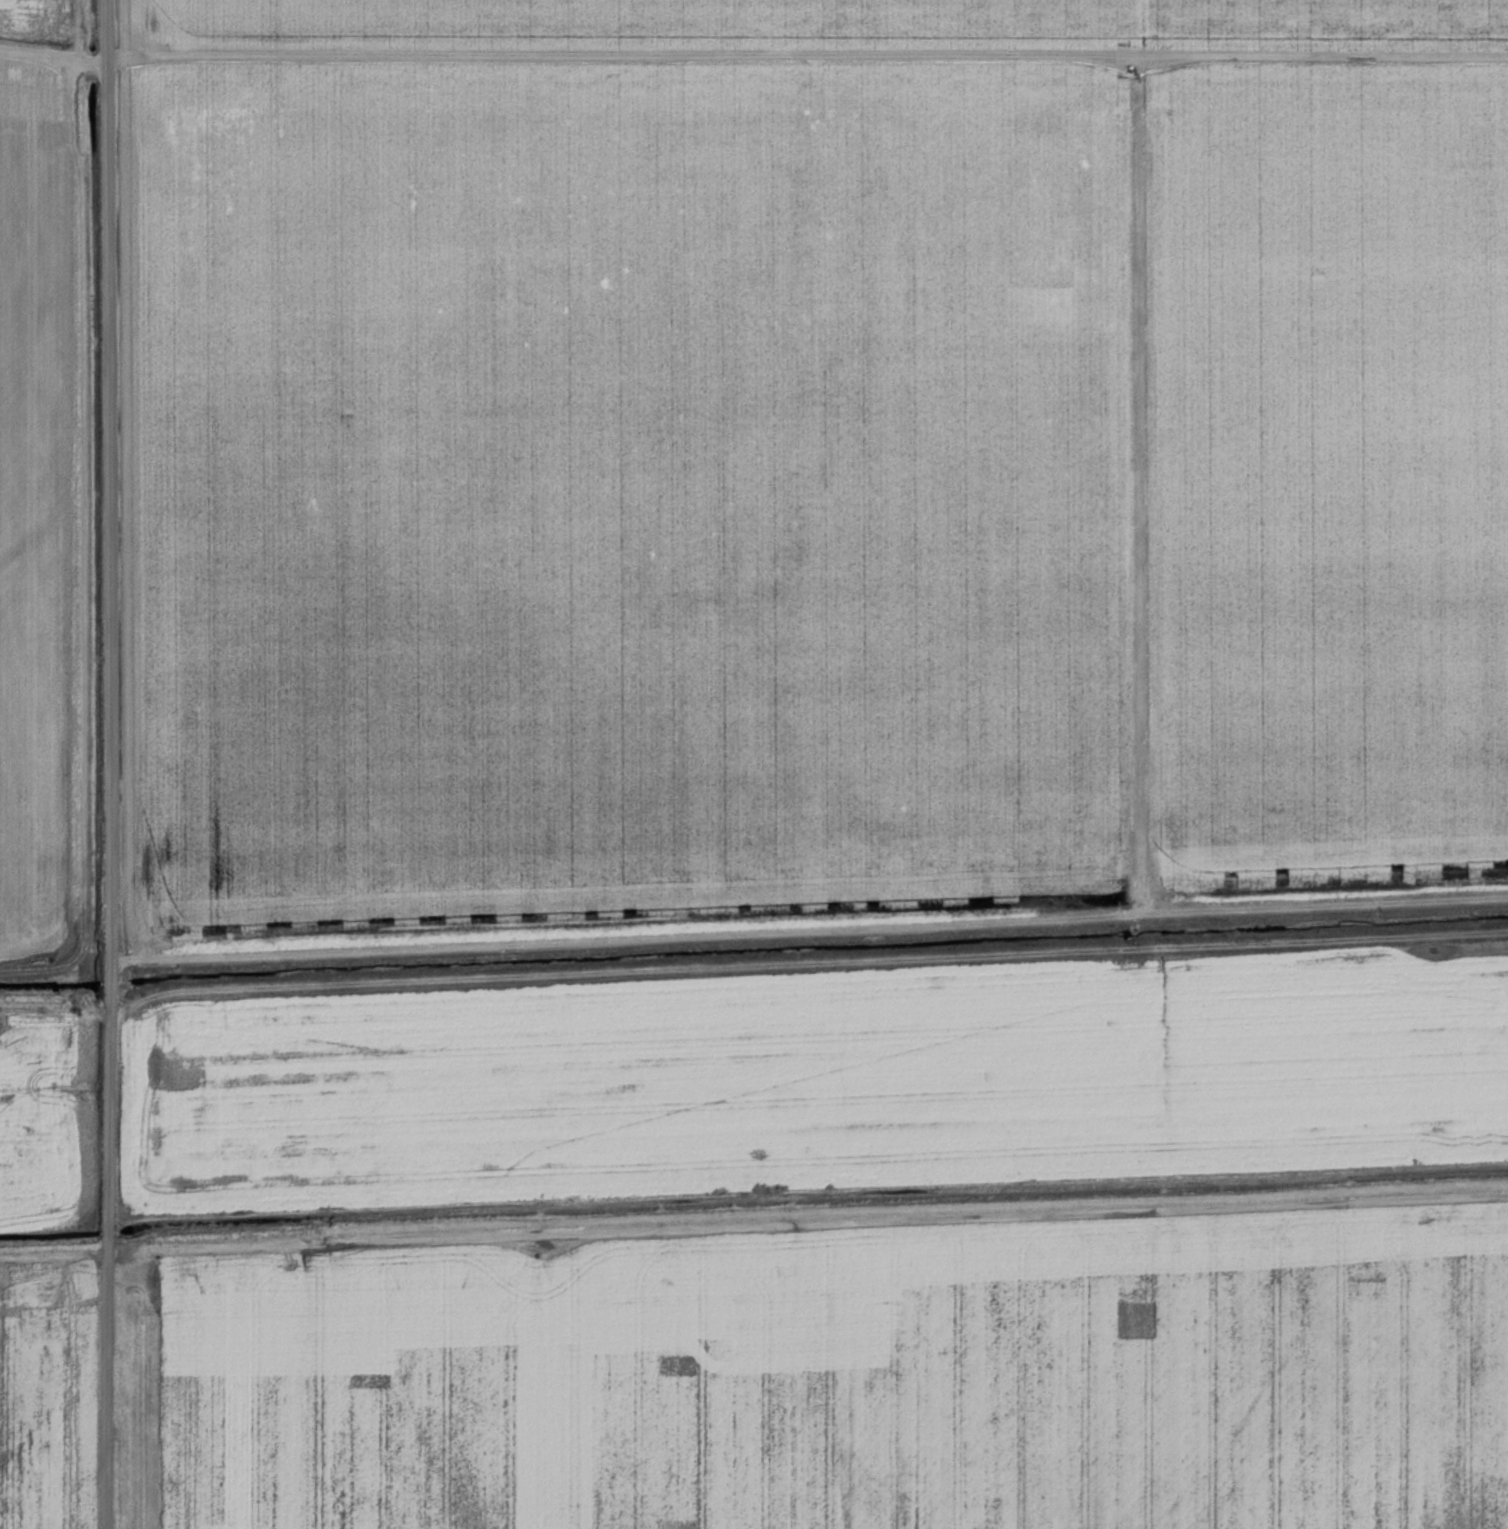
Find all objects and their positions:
road: (113, 764)

